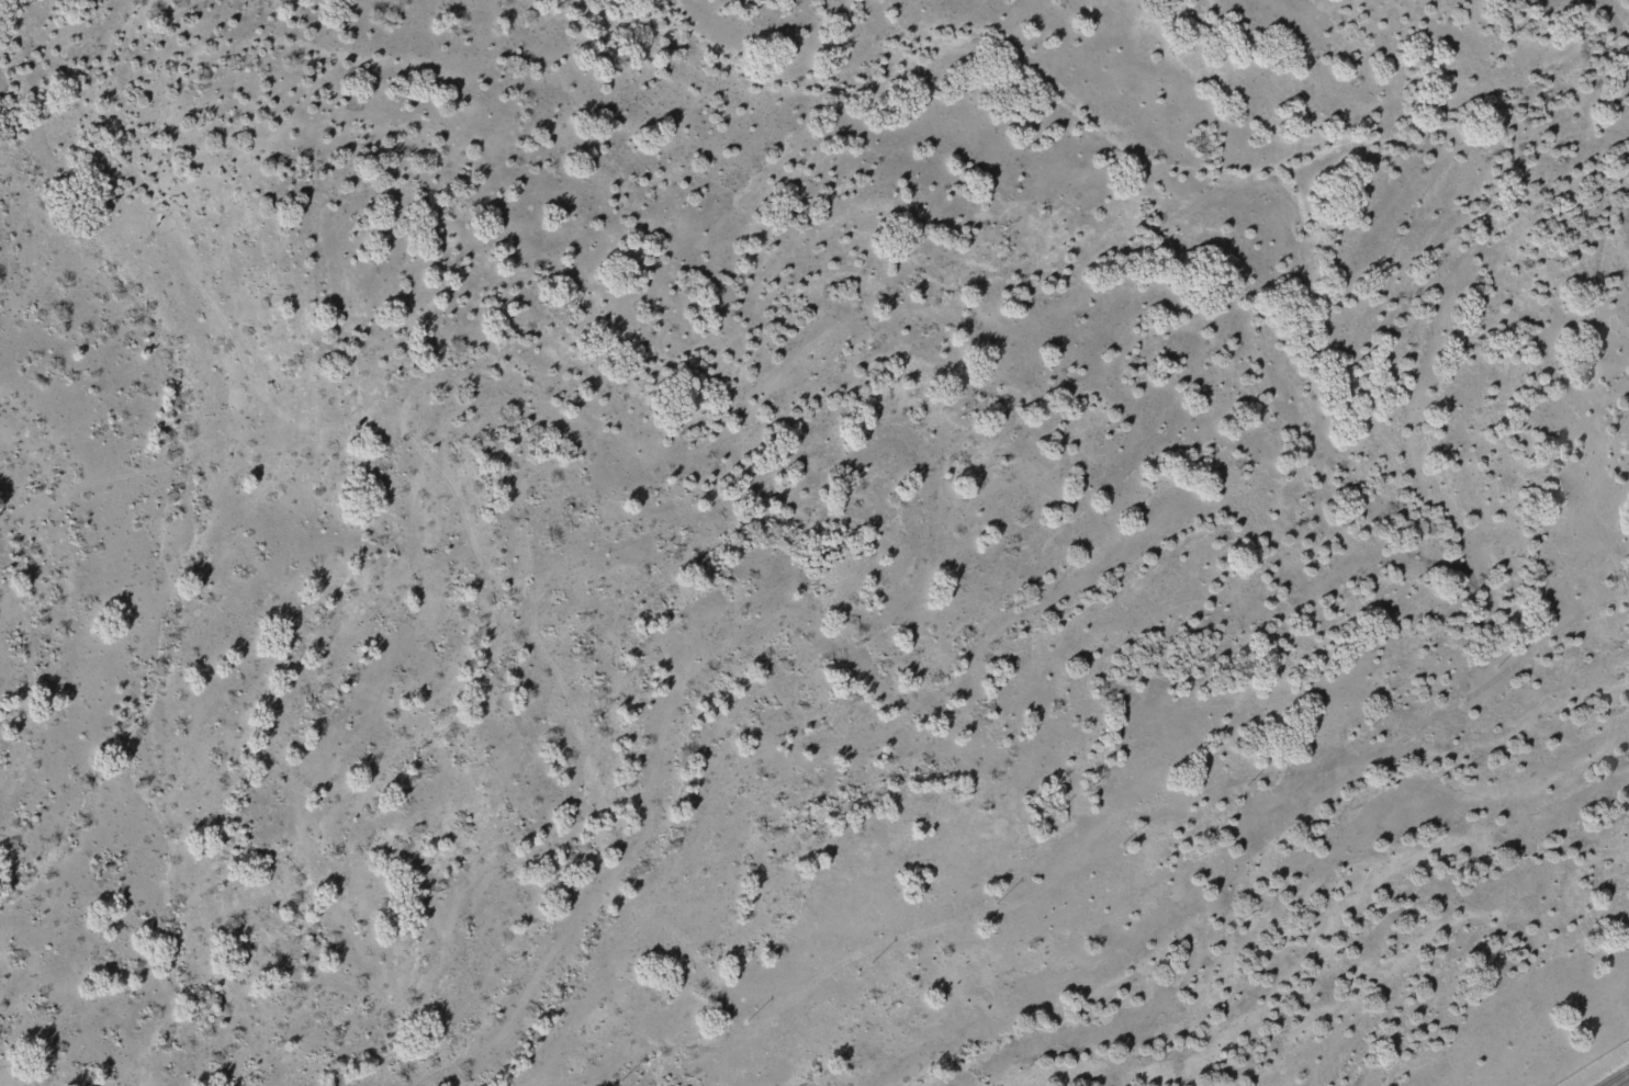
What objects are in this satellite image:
road: (1628, 1085)

